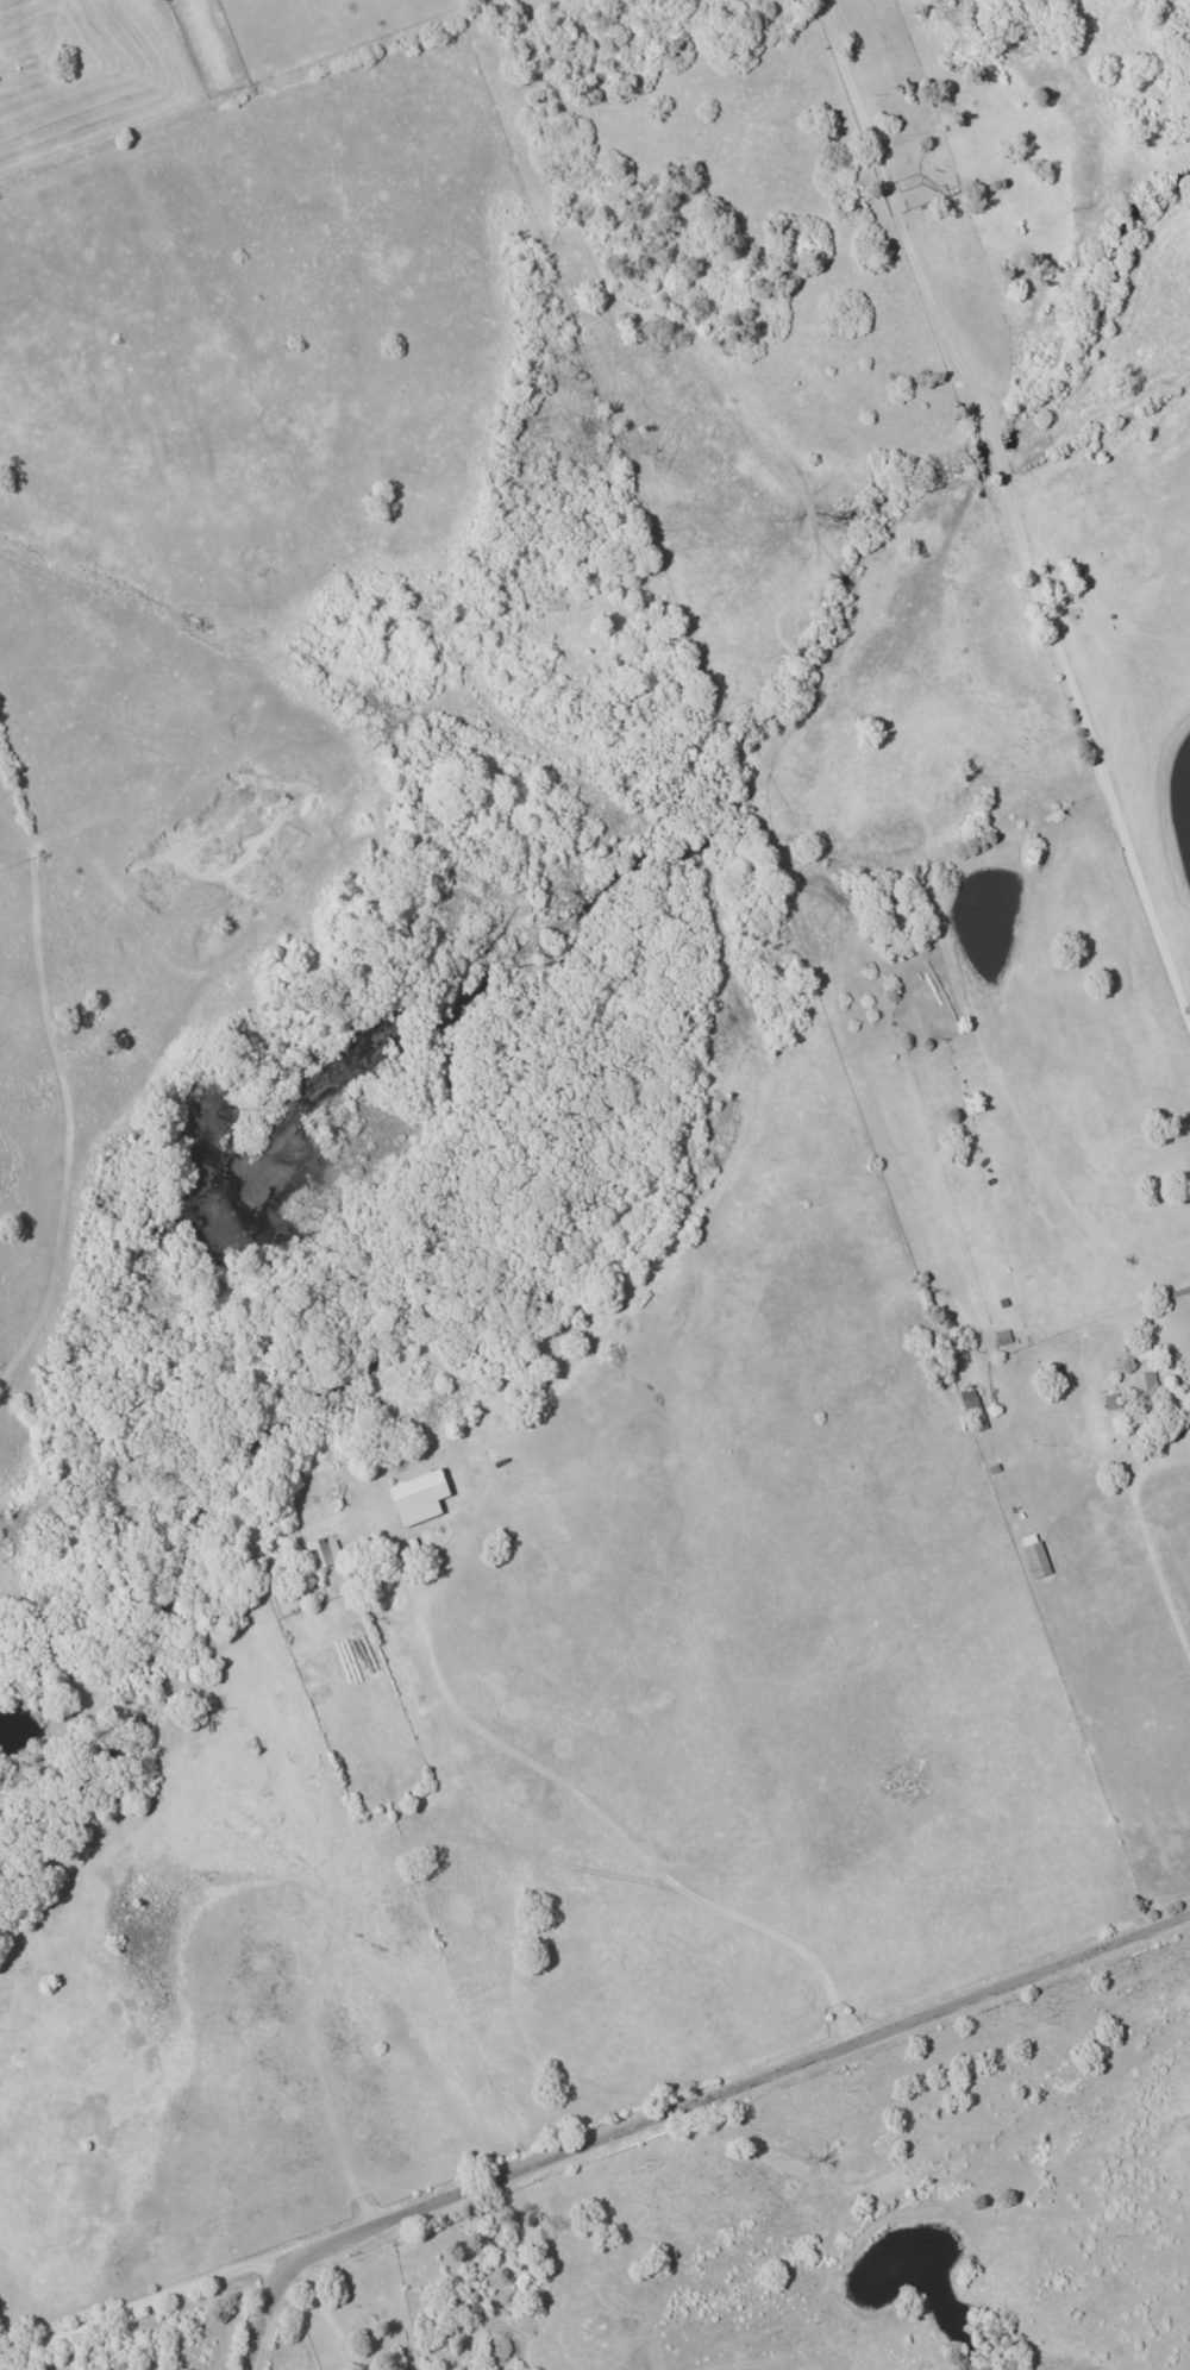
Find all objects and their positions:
road: (1003, 515)
building: (1144, 1387)
building: (416, 1497)
building: (325, 1554)
road: (1159, 1580)
road: (684, 2105)
road: (146, 2297)
road: (337, 2314)

